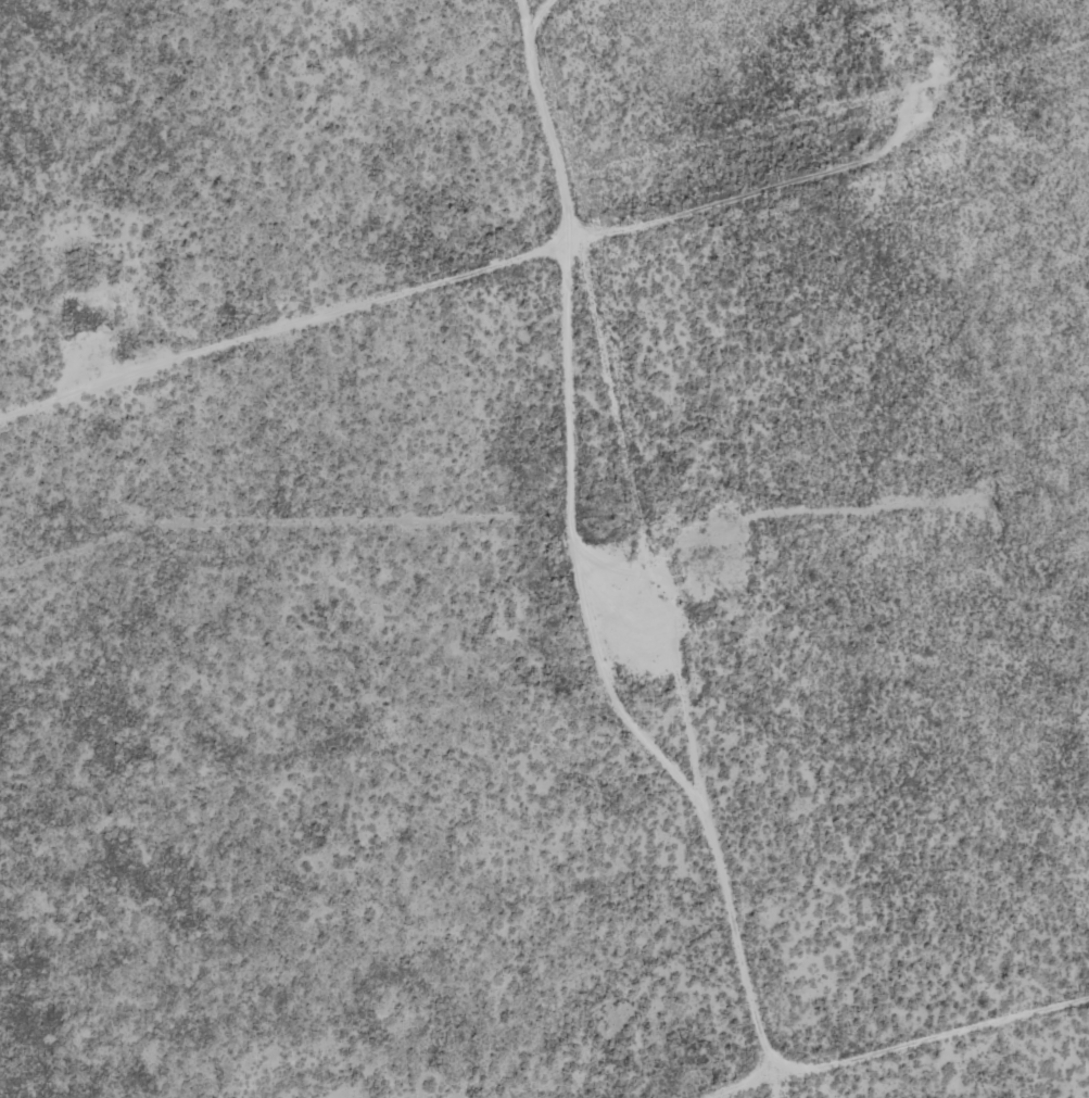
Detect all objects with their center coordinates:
road: (472, 281)
road: (676, 548)
road: (875, 1045)

